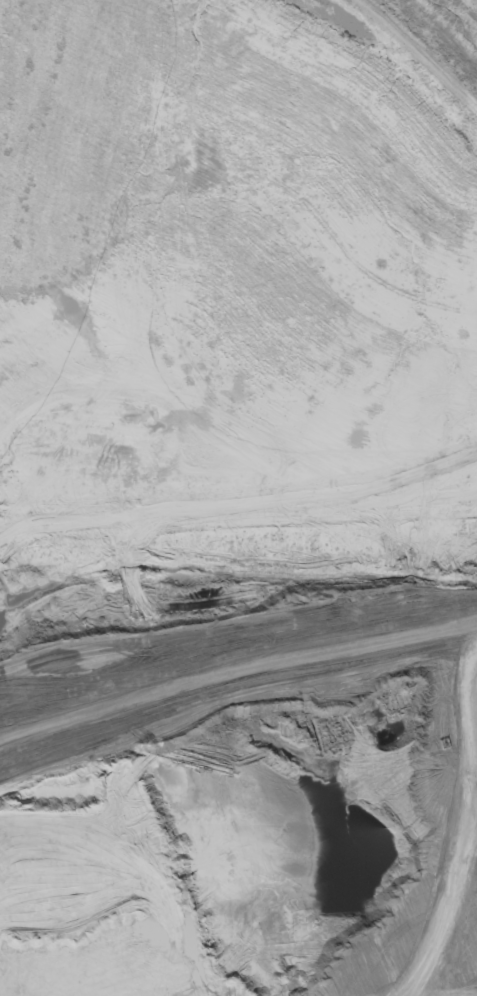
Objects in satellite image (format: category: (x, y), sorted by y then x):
quarry: (227, 471)

